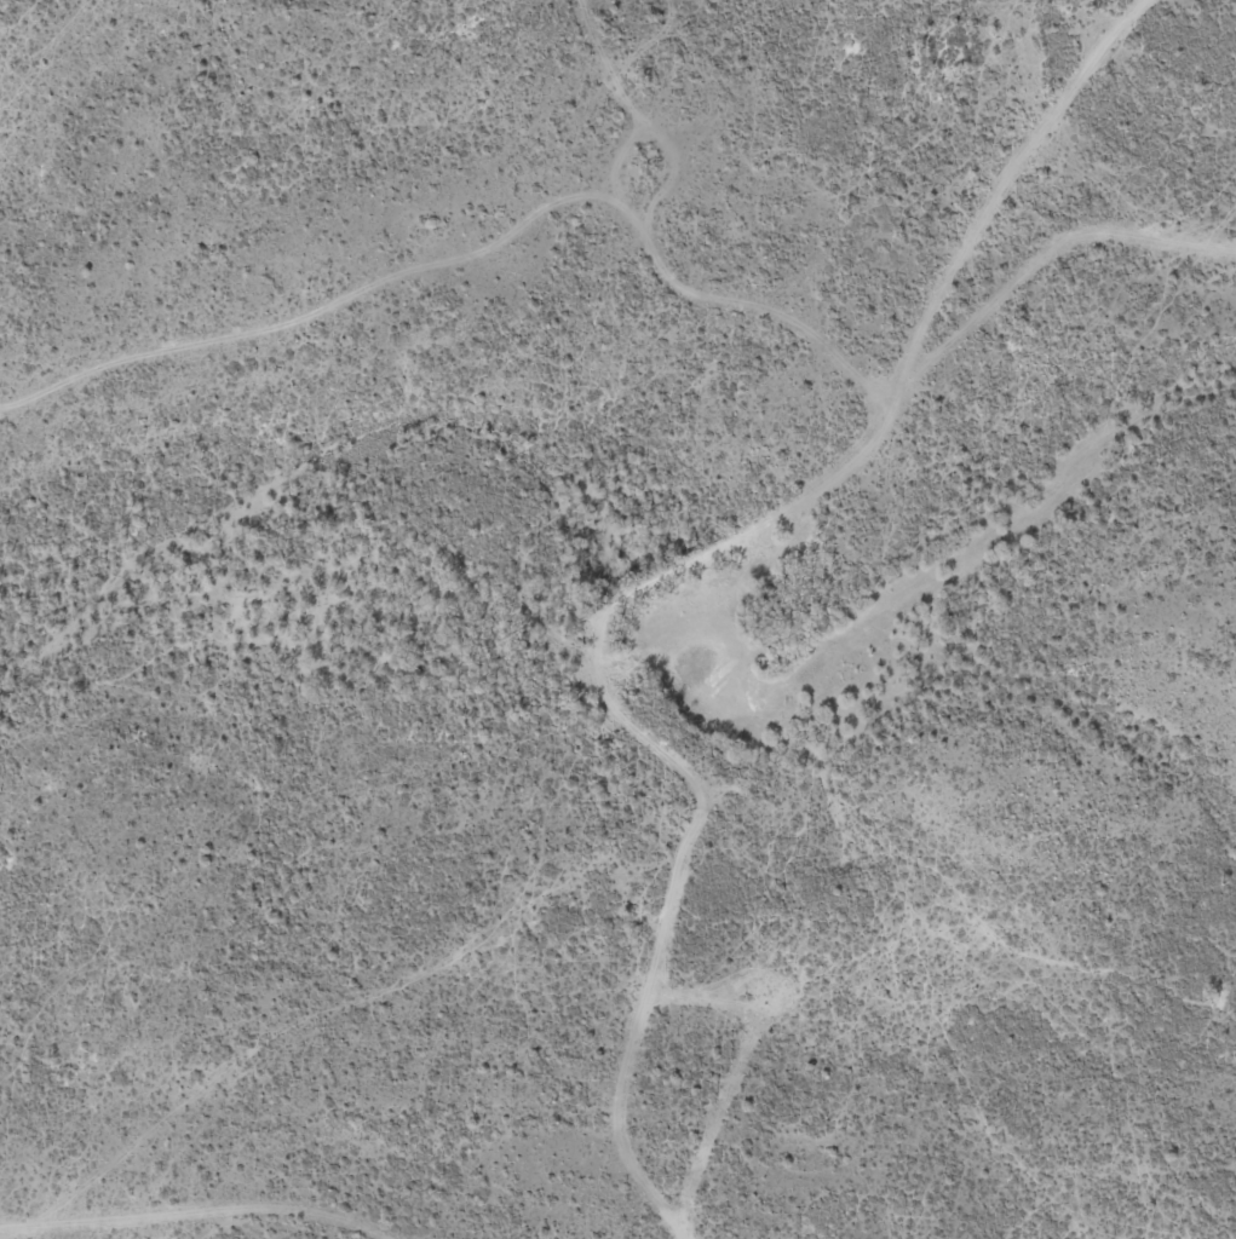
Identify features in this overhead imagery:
road: (229, 1200)

